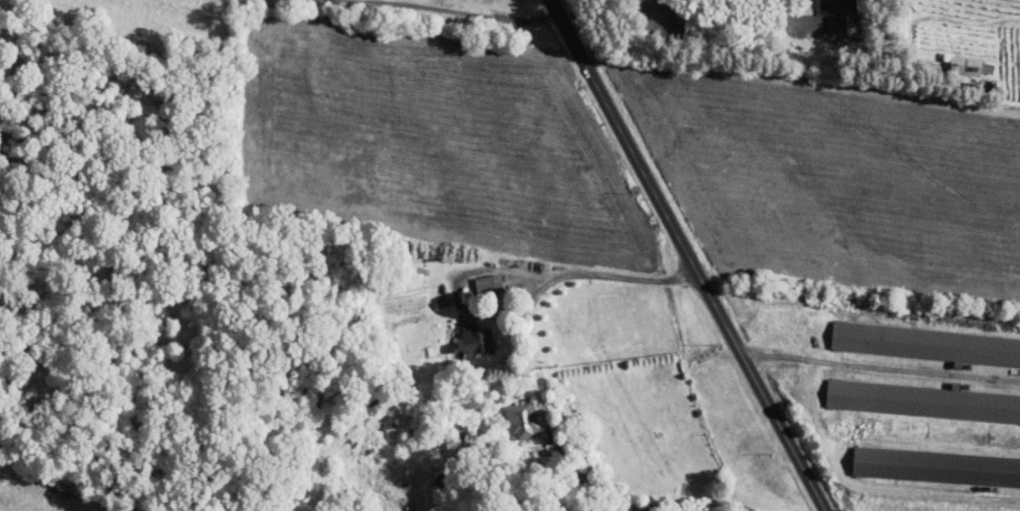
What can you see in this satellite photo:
building: (826, 10)
road: (759, 15)
building: (957, 62)
road: (692, 255)
building: (477, 277)
building: (465, 332)
building: (925, 344)
road: (882, 367)
road: (536, 388)
building: (924, 402)
building: (512, 414)
building: (936, 467)

